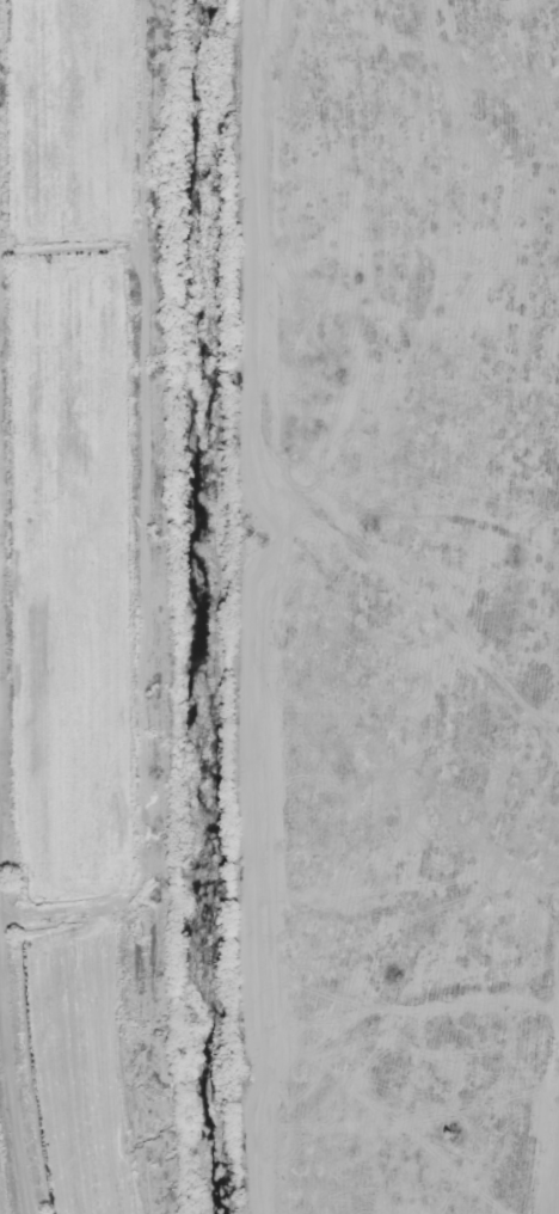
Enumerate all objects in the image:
river: (214, 606)
road: (13, 1067)

